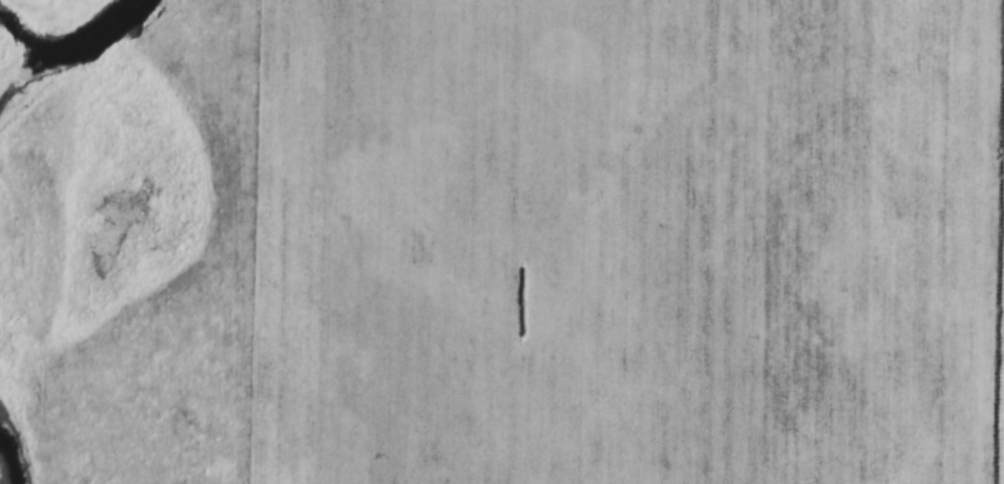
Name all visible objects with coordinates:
river: (87, 65)
crop: (627, 242)
river: (2, 471)

